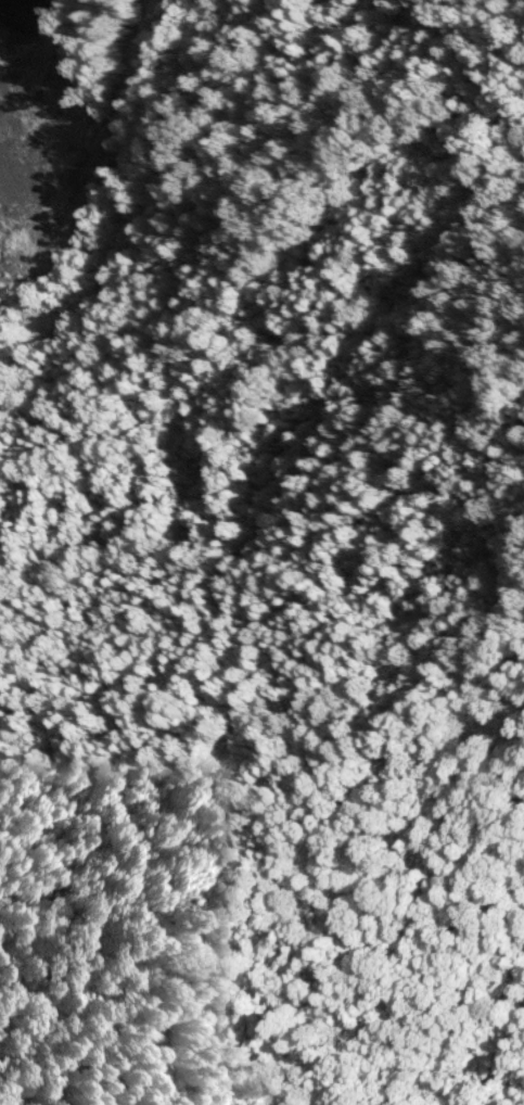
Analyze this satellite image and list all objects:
road: (452, 454)

